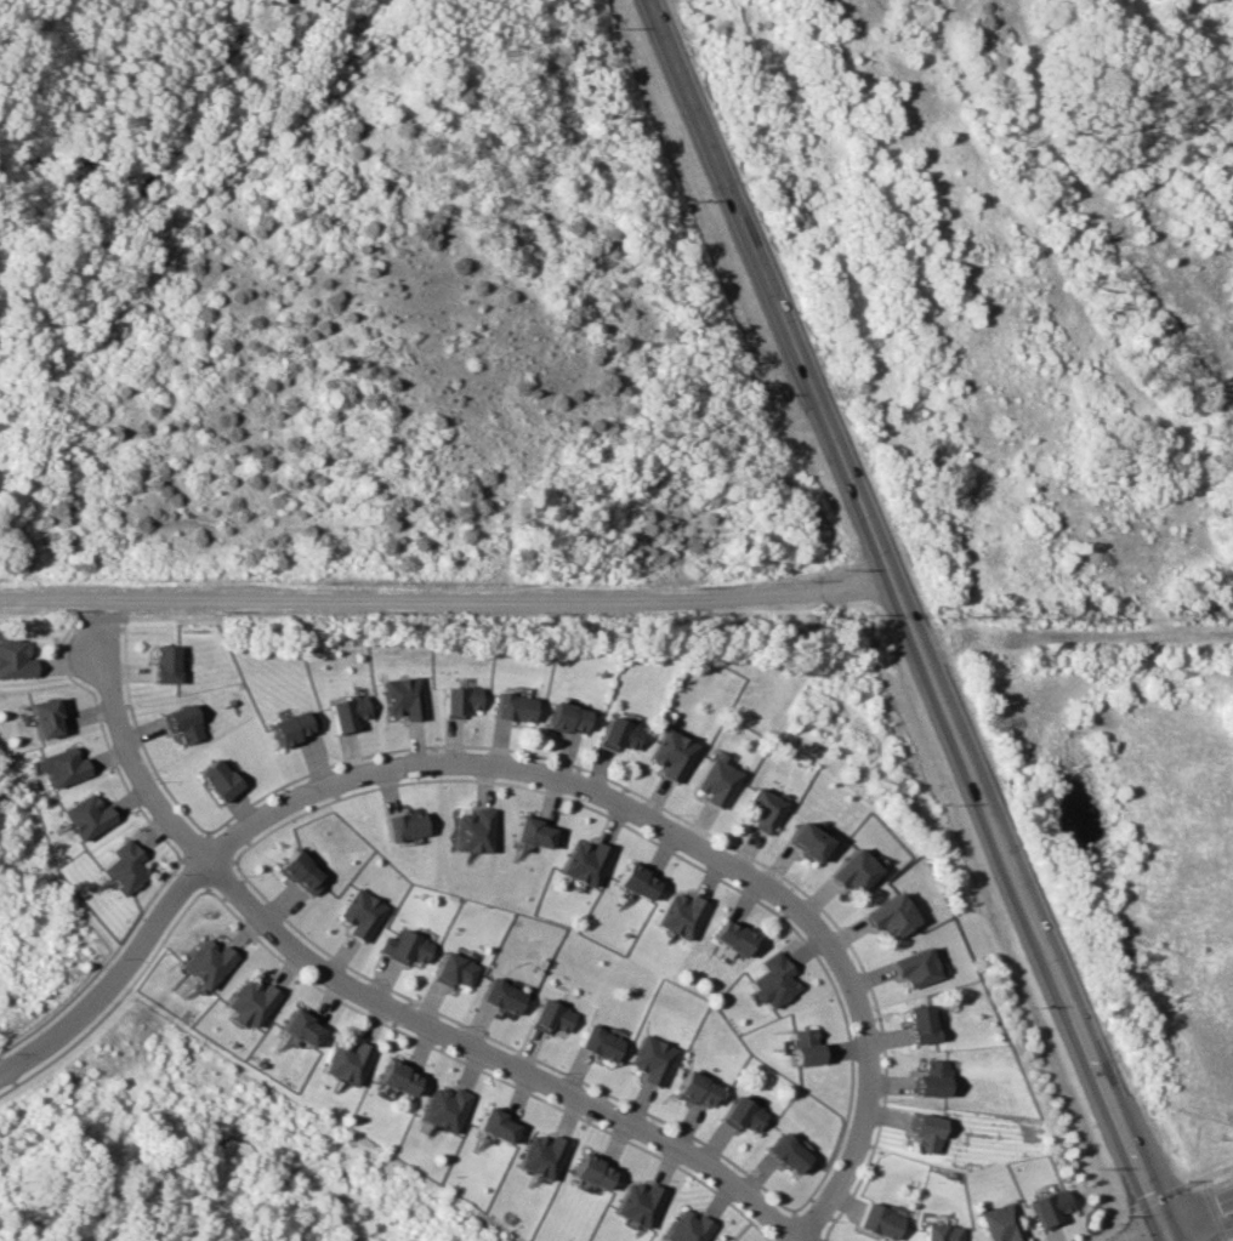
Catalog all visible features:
road: (449, 598)
road: (915, 619)
building: (15, 659)
building: (166, 662)
building: (404, 696)
building: (460, 700)
building: (513, 706)
building: (348, 712)
building: (44, 717)
building: (567, 717)
building: (183, 723)
building: (295, 725)
building: (618, 734)
building: (671, 753)
road: (137, 764)
building: (59, 765)
road: (550, 778)
building: (220, 779)
building: (716, 781)
building: (763, 809)
building: (85, 815)
building: (405, 825)
building: (472, 830)
building: (532, 832)
building: (806, 841)
building: (584, 861)
building: (124, 866)
building: (853, 870)
building: (302, 872)
building: (636, 881)
building: (362, 913)
building: (680, 913)
building: (891, 916)
building: (731, 937)
building: (408, 946)
building: (208, 962)
building: (915, 967)
building: (456, 969)
road: (114, 977)
building: (771, 980)
building: (504, 996)
building: (250, 1001)
building: (551, 1017)
building: (921, 1023)
building: (301, 1027)
building: (600, 1042)
building: (805, 1047)
road: (501, 1053)
building: (653, 1059)
building: (347, 1060)
building: (398, 1077)
building: (932, 1078)
building: (697, 1089)
building: (443, 1108)
building: (743, 1115)
road: (869, 1120)
building: (494, 1125)
building: (926, 1132)
building: (788, 1152)
building: (539, 1155)
building: (591, 1172)
building: (637, 1202)
building: (1047, 1207)
road: (1199, 1208)
building: (879, 1220)
building: (1000, 1223)
road: (748, 1224)
building: (686, 1226)
road: (1201, 1226)
building: (939, 1233)
road: (1158, 1235)

